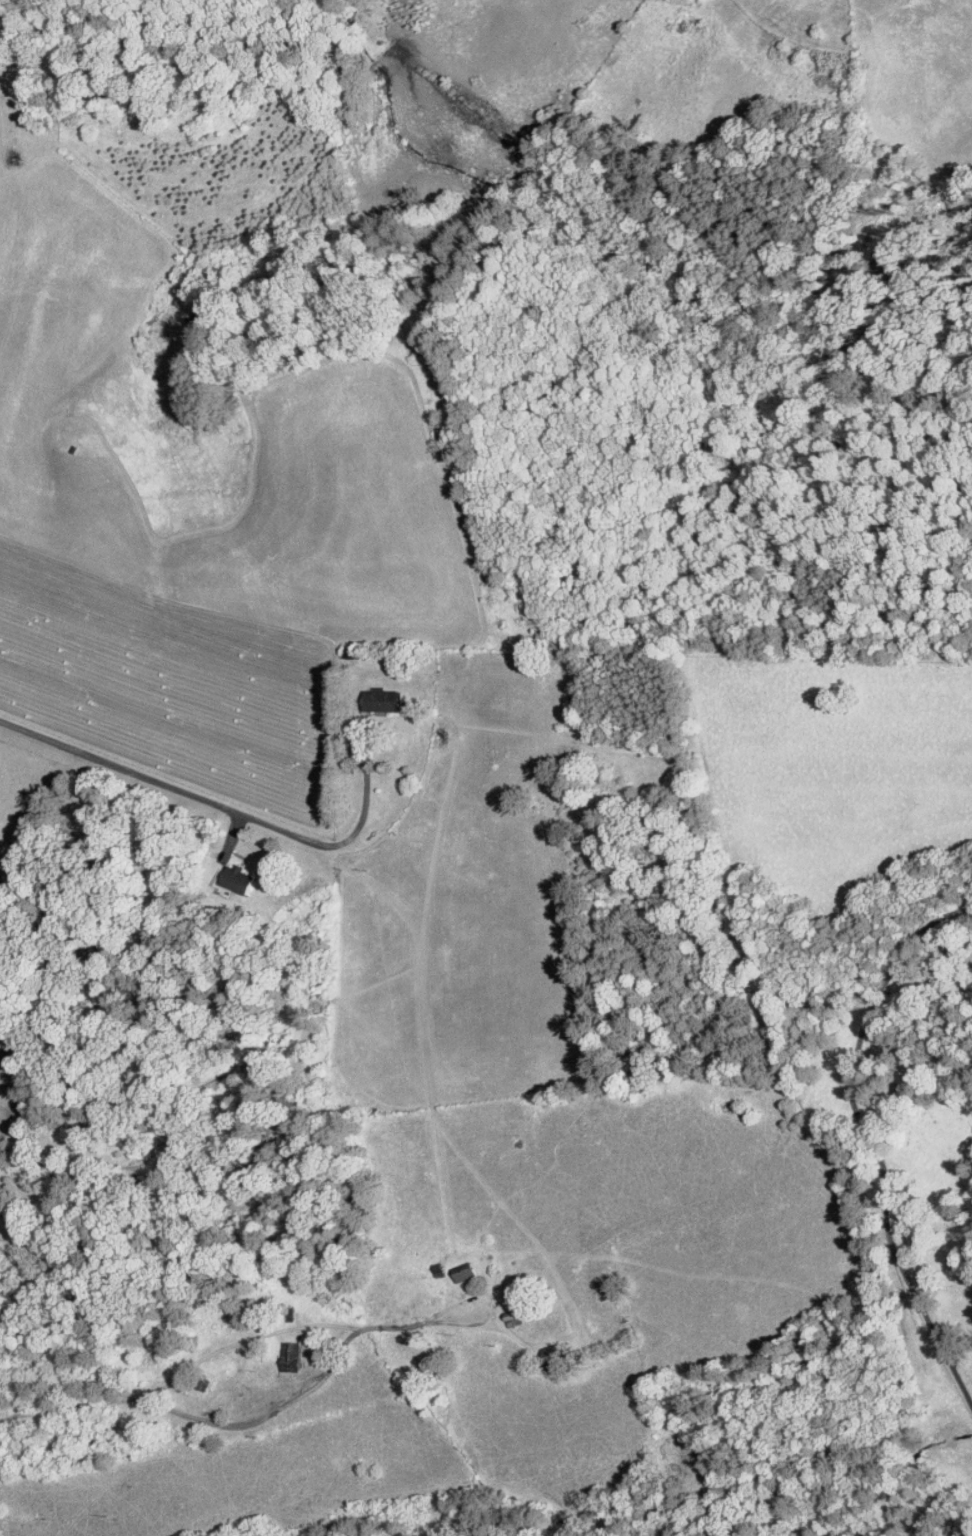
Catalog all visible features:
road: (223, 807)
road: (872, 1139)
road: (727, 1192)
road: (491, 1307)
road: (233, 1427)

